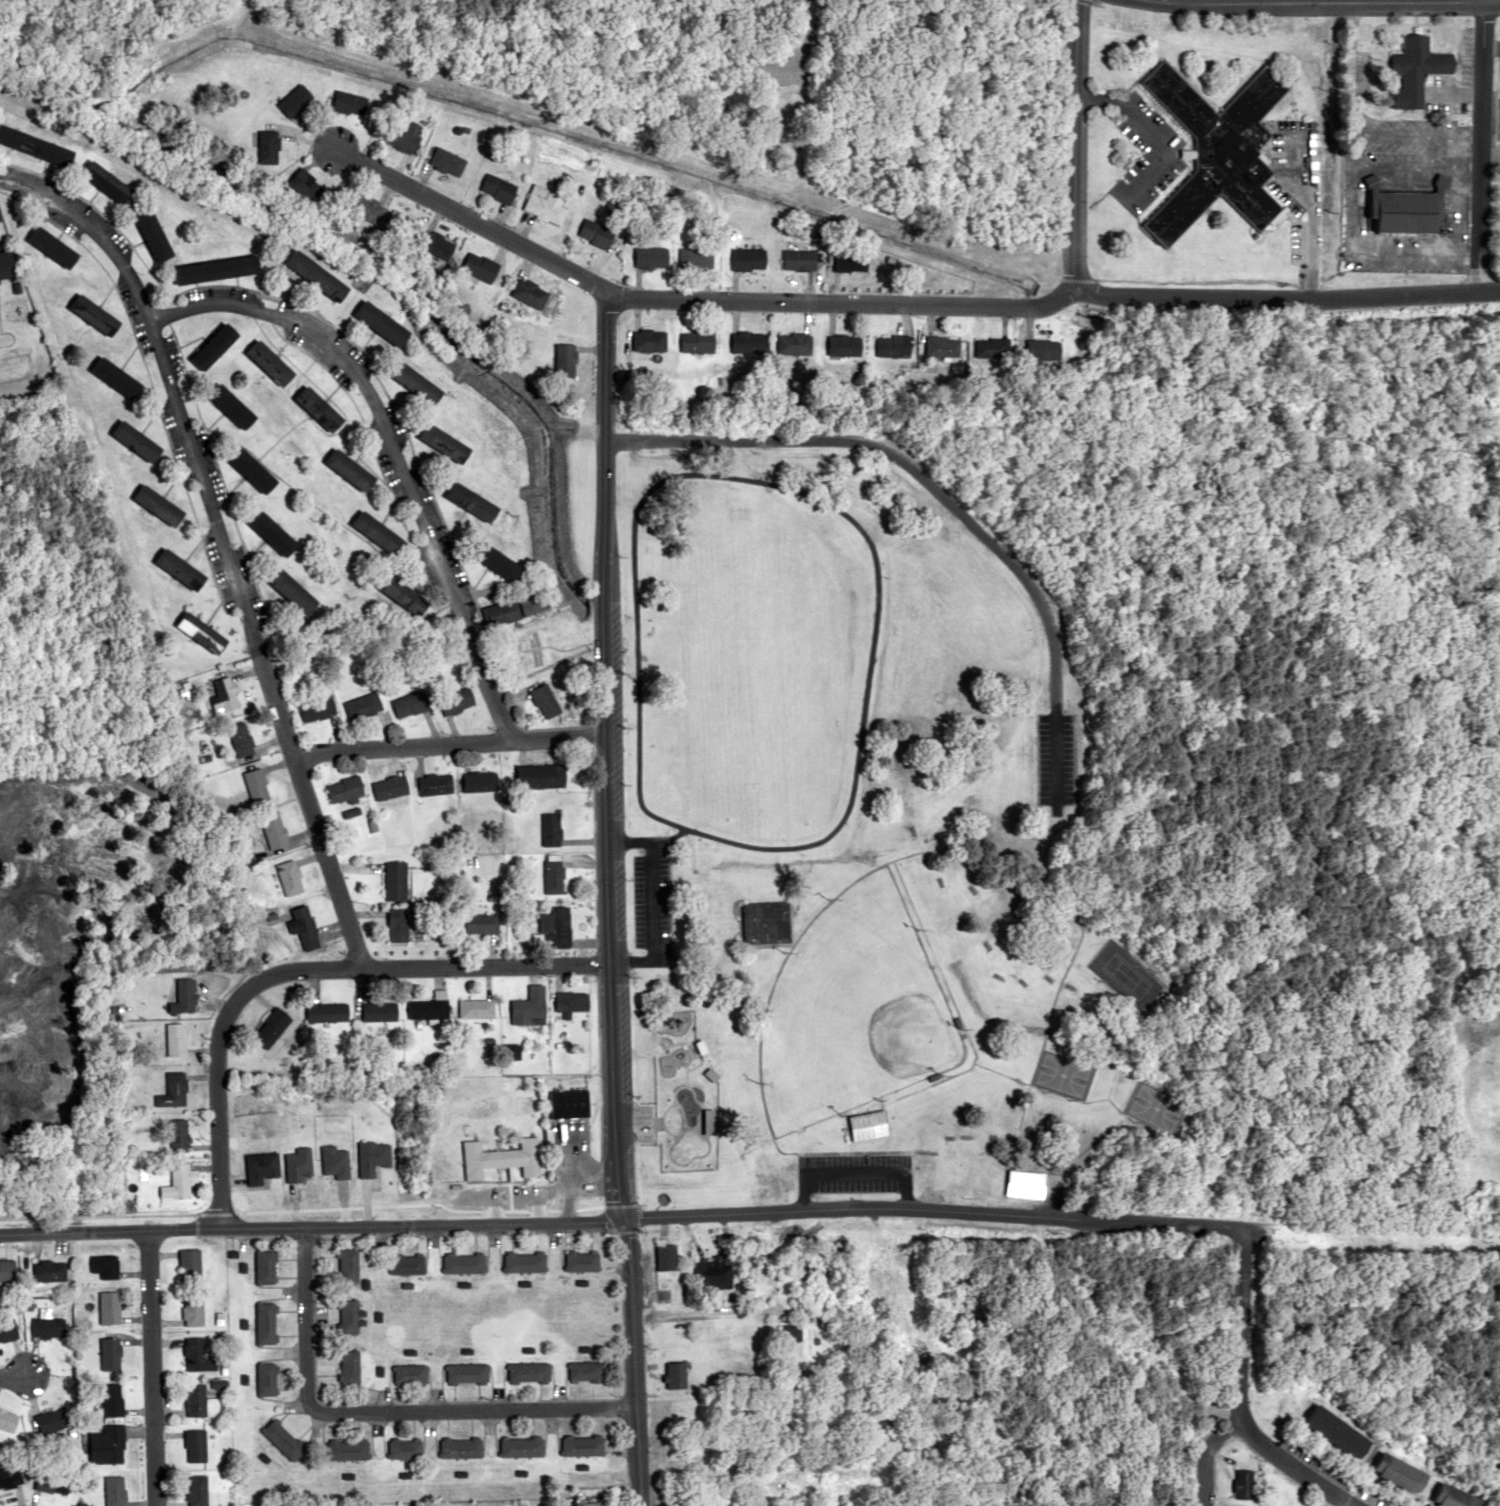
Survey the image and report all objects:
road: (1251, 0)
road: (1353, 0)
building: (1416, 69)
building: (294, 100)
building: (348, 103)
building: (403, 135)
building: (36, 145)
building: (266, 146)
road: (1477, 146)
building: (1214, 150)
road: (1069, 154)
building: (446, 161)
building: (563, 173)
building: (108, 181)
building: (304, 185)
building: (497, 187)
building: (545, 204)
building: (363, 206)
building: (1403, 208)
building: (401, 228)
building: (596, 233)
building: (155, 236)
building: (434, 243)
building: (53, 247)
building: (650, 257)
building: (695, 258)
building: (748, 258)
building: (798, 259)
building: (849, 261)
building: (7, 266)
building: (479, 266)
building: (219, 269)
building: (318, 275)
building: (529, 292)
road: (895, 306)
building: (96, 314)
building: (383, 323)
building: (647, 340)
building: (696, 341)
building: (746, 342)
building: (791, 343)
building: (843, 345)
building: (216, 346)
building: (892, 346)
building: (940, 346)
building: (988, 347)
building: (1042, 349)
building: (564, 360)
building: (271, 362)
building: (117, 377)
building: (419, 384)
building: (234, 406)
building: (320, 409)
building: (137, 441)
building: (447, 443)
road: (390, 450)
building: (255, 470)
building: (351, 470)
road: (939, 495)
building: (475, 502)
building: (159, 505)
building: (379, 532)
building: (275, 533)
road: (219, 543)
building: (497, 560)
building: (181, 569)
building: (295, 592)
building: (405, 595)
building: (538, 602)
building: (502, 613)
building: (203, 633)
building: (523, 655)
building: (224, 696)
building: (456, 701)
building: (546, 701)
building: (405, 705)
building: (363, 706)
building: (317, 709)
building: (241, 739)
road: (445, 745)
building: (541, 776)
building: (479, 781)
building: (434, 784)
building: (256, 785)
building: (390, 787)
building: (345, 789)
park: (888, 826)
building: (551, 829)
building: (275, 831)
road: (776, 843)
building: (553, 874)
building: (290, 877)
building: (394, 880)
road: (605, 899)
building: (763, 921)
building: (481, 923)
building: (397, 925)
building: (304, 926)
building: (557, 926)
road: (298, 970)
park: (1120, 973)
building: (182, 996)
building: (571, 1001)
building: (430, 1006)
building: (530, 1007)
building: (475, 1008)
park: (853, 1008)
building: (379, 1011)
building: (327, 1012)
building: (271, 1027)
building: (173, 1039)
park: (1059, 1073)
building: (171, 1090)
building: (571, 1104)
building: (653, 1112)
building: (866, 1125)
building: (177, 1135)
building: (371, 1157)
building: (501, 1158)
building: (334, 1162)
building: (297, 1164)
building: (259, 1167)
building: (176, 1182)
building: (1025, 1184)
road: (1027, 1217)
road: (311, 1227)
building: (666, 1257)
building: (581, 1260)
building: (524, 1261)
building: (463, 1262)
building: (407, 1264)
building: (189, 1265)
building: (103, 1266)
building: (348, 1266)
building: (264, 1267)
building: (7, 1271)
building: (48, 1271)
building: (713, 1274)
building: (108, 1308)
building: (192, 1310)
road: (686, 1315)
building: (348, 1317)
building: (265, 1323)
building: (46, 1327)
building: (7, 1329)
building: (791, 1332)
building: (922, 1348)
building: (109, 1353)
building: (197, 1355)
building: (349, 1366)
road: (145, 1368)
building: (585, 1370)
building: (529, 1371)
building: (466, 1372)
building: (410, 1373)
building: (676, 1374)
road: (5, 1378)
building: (266, 1378)
building: (110, 1399)
building: (199, 1401)
road: (379, 1412)
building: (51, 1419)
building: (7, 1421)
building: (1338, 1431)
building: (282, 1439)
building: (582, 1444)
building: (107, 1445)
building: (194, 1445)
building: (521, 1446)
building: (460, 1447)
building: (403, 1448)
building: (346, 1449)
road: (1203, 1453)
road: (1296, 1465)
building: (1401, 1472)
building: (9, 1476)
building: (50, 1482)
building: (1242, 1484)
building: (112, 1490)
building: (195, 1490)
building: (1455, 1496)

